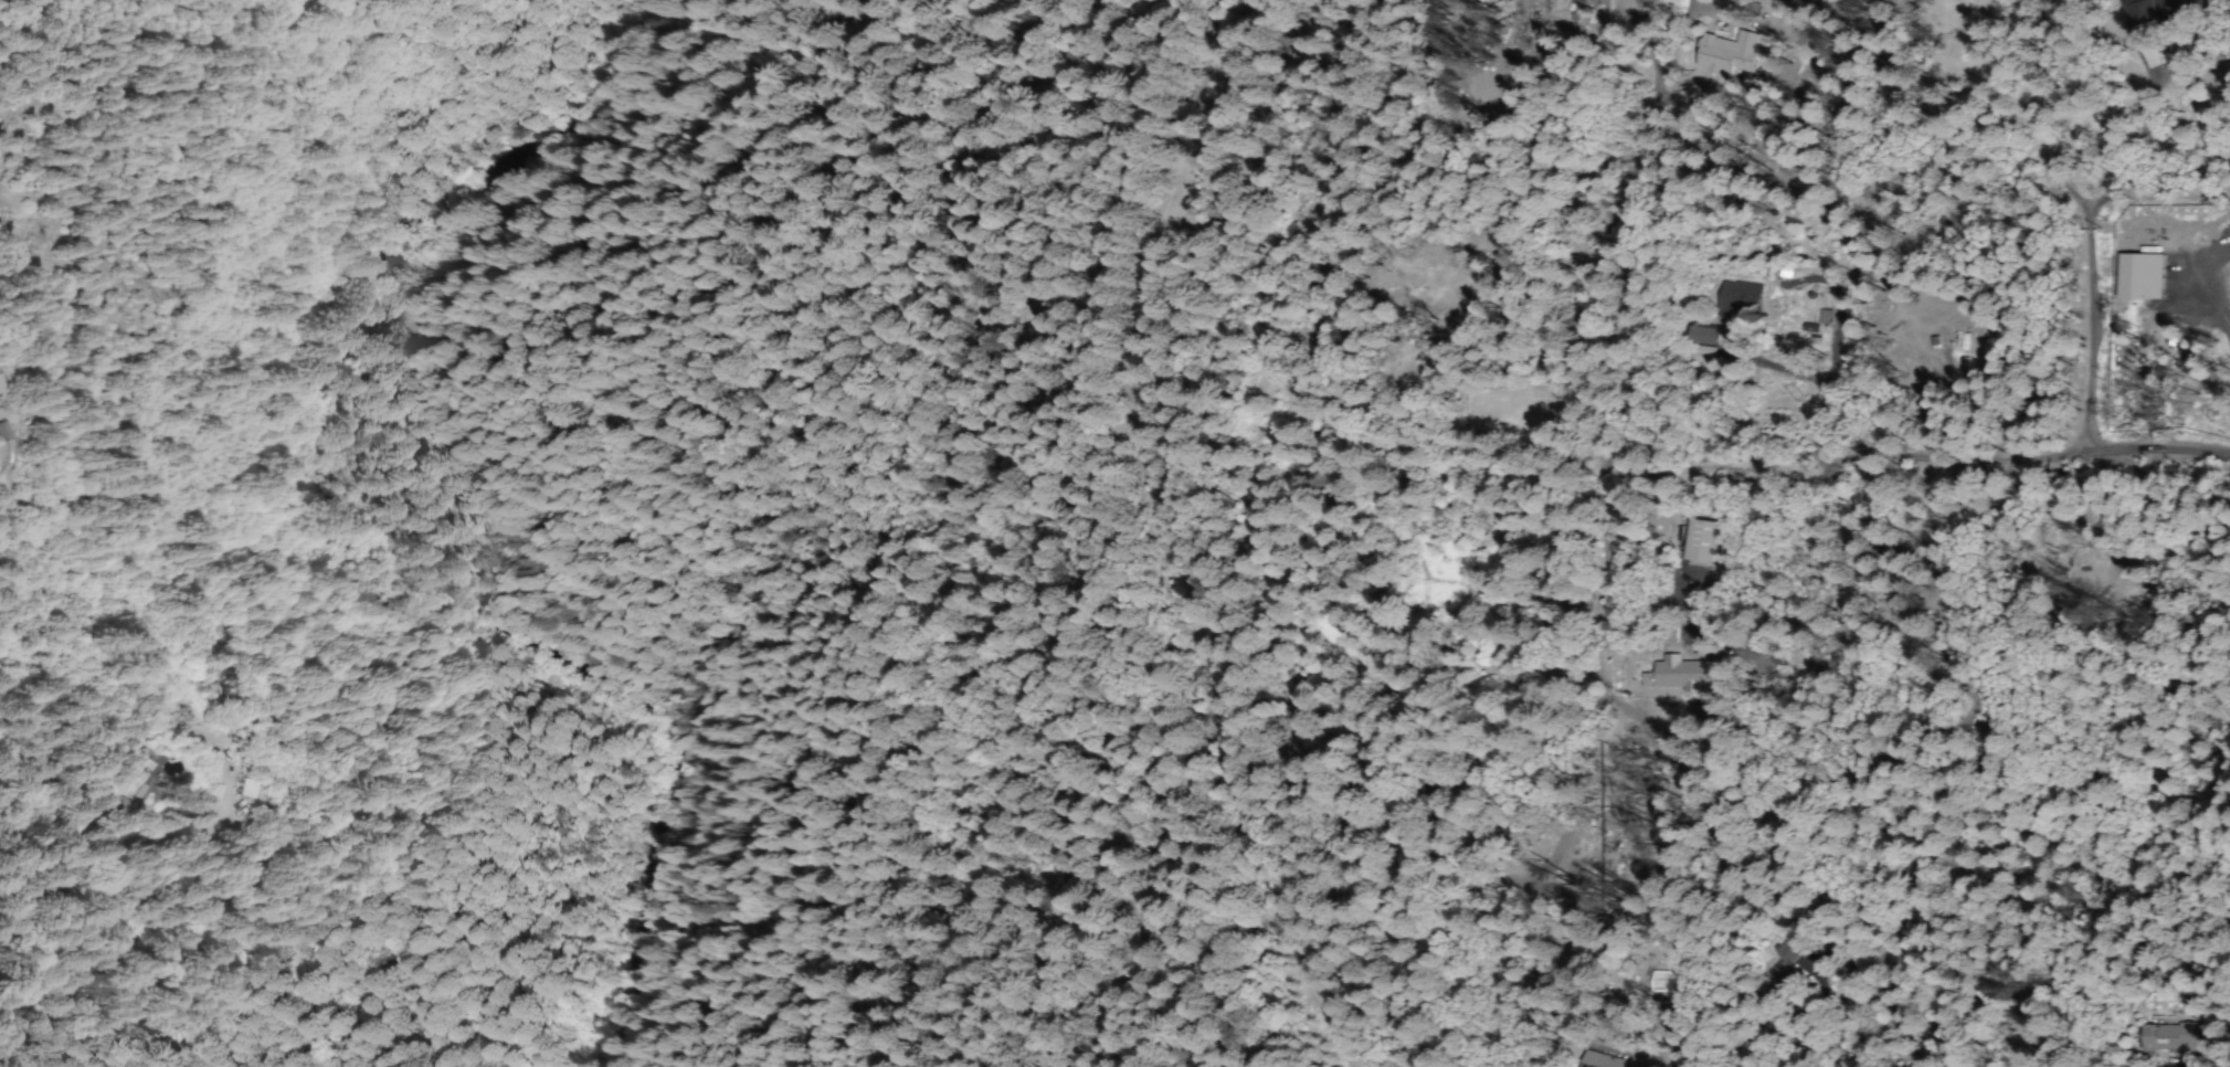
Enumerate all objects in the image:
building: (2153, 10)
road: (2009, 171)
road: (535, 210)
building: (1702, 337)
building: (0, 397)
road: (1928, 429)
road: (1627, 463)
road: (1160, 548)
road: (559, 693)
building: (249, 791)
road: (109, 851)
road: (142, 941)
building: (1604, 1063)

